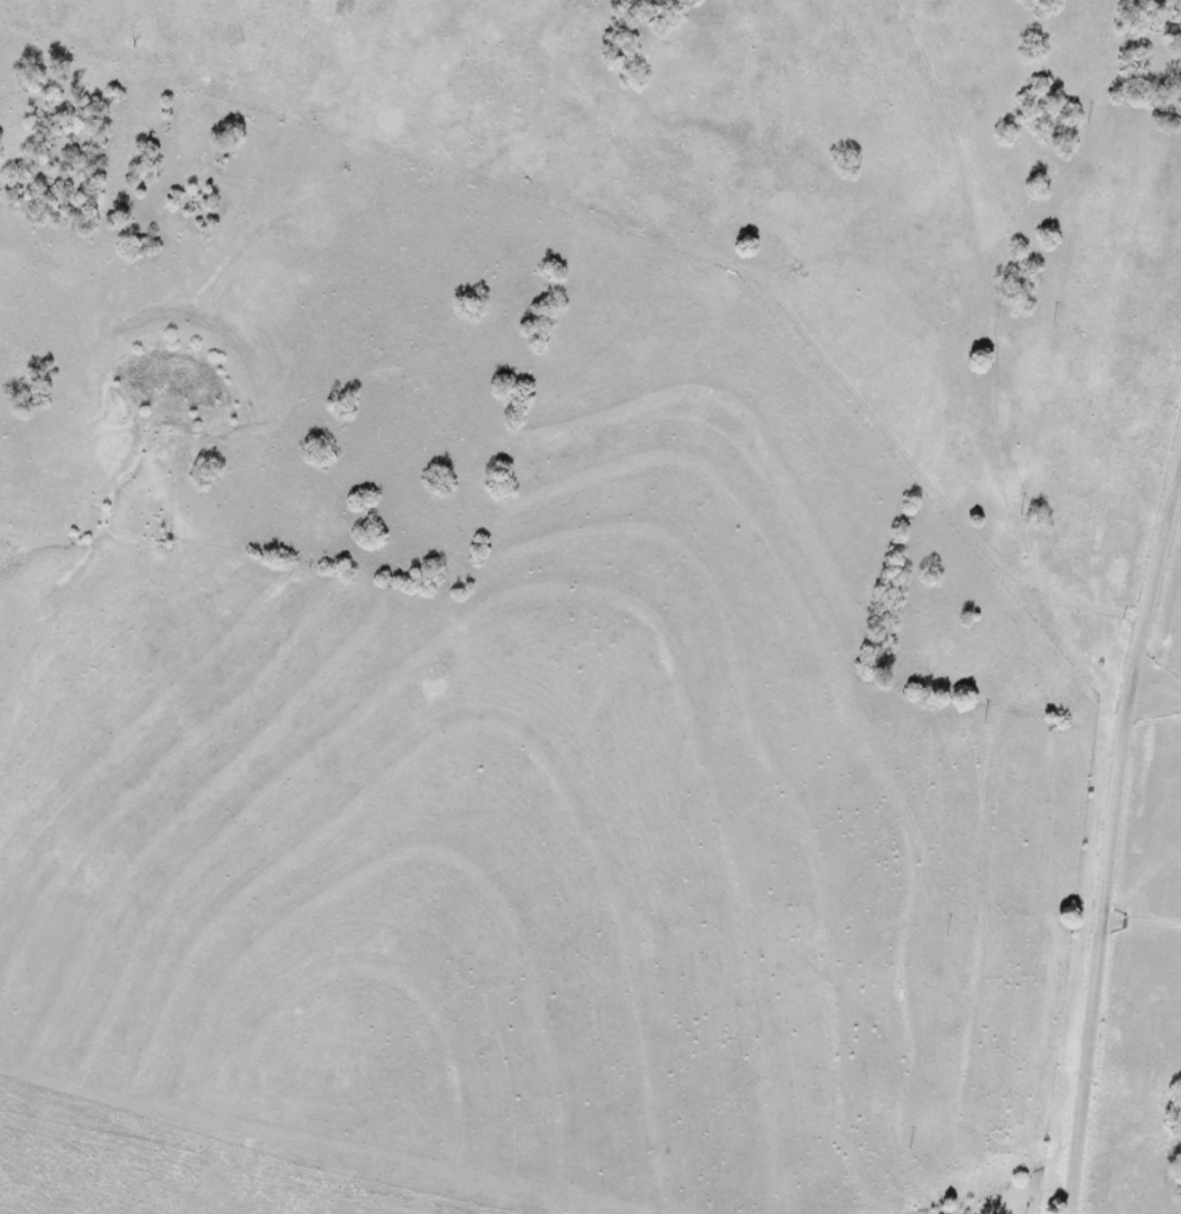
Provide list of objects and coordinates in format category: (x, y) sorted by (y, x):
road: (1171, 570)
road: (1116, 846)

